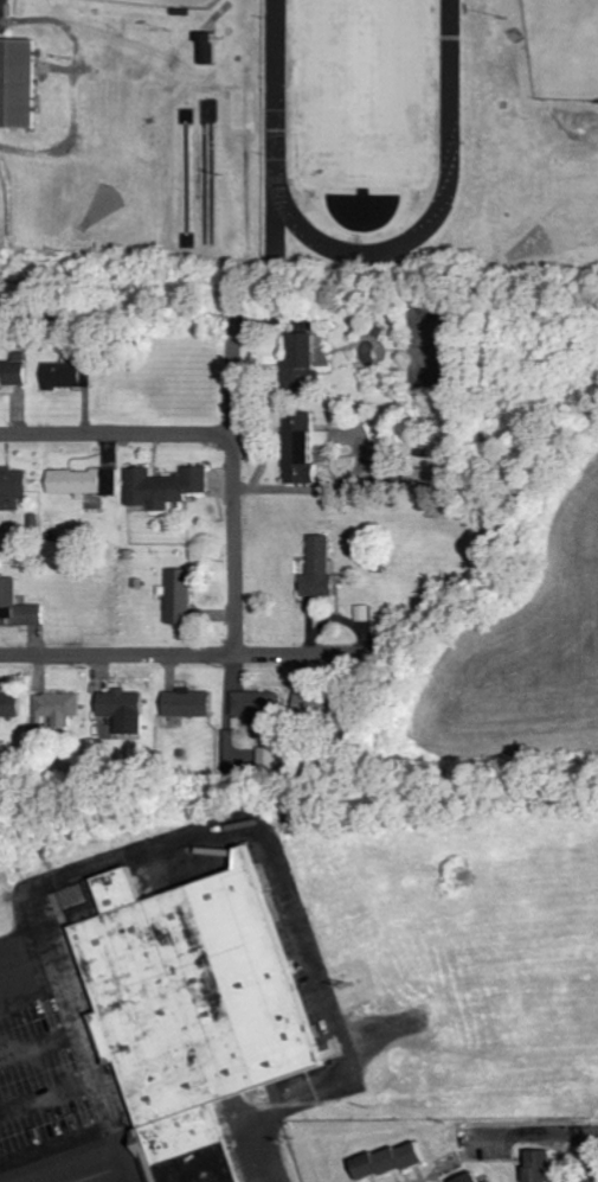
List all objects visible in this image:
park: (180, 2)
park: (564, 46)
building: (17, 83)
park: (366, 88)
track: (278, 128)
track: (441, 212)
building: (298, 359)
building: (13, 372)
building: (63, 375)
road: (117, 429)
building: (83, 481)
building: (12, 485)
building: (163, 486)
road: (236, 486)
building: (319, 567)
building: (178, 596)
building: (15, 607)
road: (191, 653)
building: (186, 703)
building: (9, 704)
building: (56, 709)
building: (122, 710)
road: (198, 832)
road: (22, 938)
road: (32, 990)
building: (189, 990)
road: (41, 1044)
road: (50, 1099)
building: (189, 1148)
road: (58, 1150)
building: (386, 1161)
building: (538, 1165)
road: (592, 1165)
road: (115, 1176)
building: (465, 1178)

